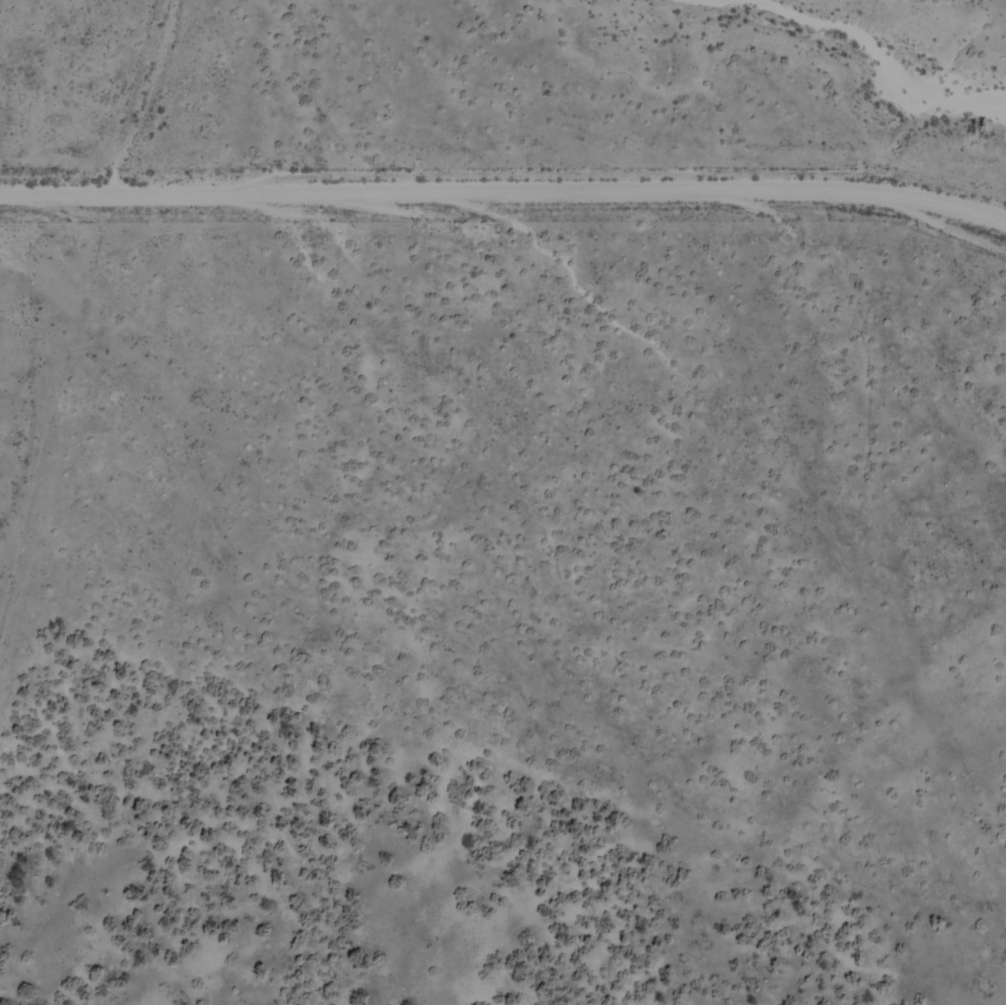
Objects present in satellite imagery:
road: (21, 165)
road: (510, 202)
road: (48, 449)

